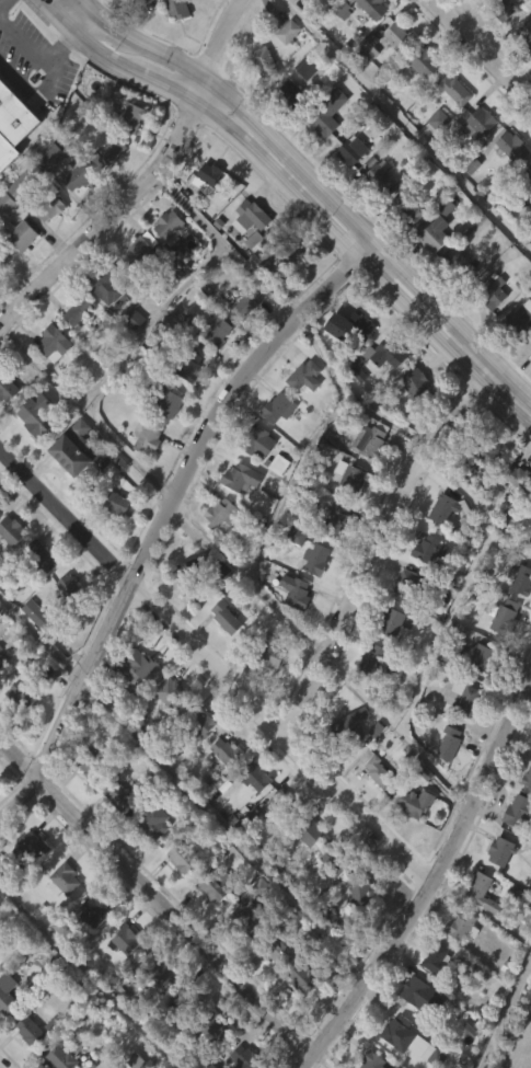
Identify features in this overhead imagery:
road: (1, 1)
building: (442, 1)
road: (85, 7)
building: (343, 8)
building: (371, 8)
building: (177, 9)
building: (501, 10)
building: (200, 12)
building: (333, 15)
road: (59, 16)
building: (463, 16)
road: (80, 23)
building: (154, 30)
building: (526, 33)
building: (401, 38)
building: (343, 42)
building: (172, 47)
building: (366, 49)
road: (482, 49)
road: (216, 50)
building: (498, 50)
road: (37, 53)
road: (104, 55)
building: (268, 61)
building: (425, 64)
building: (307, 67)
building: (284, 71)
building: (523, 72)
building: (393, 76)
road: (165, 89)
building: (363, 89)
building: (455, 90)
building: (258, 100)
building: (419, 103)
building: (301, 107)
building: (328, 113)
building: (131, 116)
road: (408, 126)
building: (467, 126)
building: (286, 129)
building: (450, 129)
building: (509, 146)
building: (348, 150)
building: (9, 151)
building: (112, 151)
building: (324, 152)
building: (51, 157)
building: (127, 157)
building: (434, 160)
building: (474, 163)
building: (528, 169)
building: (80, 175)
building: (217, 177)
building: (379, 177)
road: (314, 183)
building: (23, 184)
building: (507, 185)
building: (347, 191)
building: (104, 192)
building: (7, 202)
building: (49, 205)
building: (407, 209)
building: (526, 213)
building: (205, 214)
building: (71, 216)
building: (253, 217)
building: (373, 218)
road: (107, 222)
building: (174, 228)
building: (431, 228)
building: (20, 233)
road: (345, 241)
building: (4, 243)
building: (442, 245)
building: (45, 248)
building: (400, 248)
building: (145, 250)
building: (292, 254)
building: (245, 255)
building: (2, 260)
building: (459, 266)
building: (165, 267)
building: (430, 273)
building: (249, 279)
building: (109, 284)
building: (135, 288)
building: (489, 291)
building: (286, 297)
building: (1, 298)
building: (452, 299)
building: (251, 303)
building: (80, 310)
building: (517, 321)
building: (347, 325)
building: (104, 326)
road: (145, 328)
building: (217, 332)
building: (486, 332)
building: (58, 343)
building: (240, 344)
building: (72, 349)
building: (128, 357)
building: (374, 358)
building: (516, 359)
building: (189, 366)
building: (346, 367)
building: (212, 371)
building: (305, 376)
road: (494, 381)
building: (49, 383)
building: (409, 383)
building: (7, 388)
building: (529, 389)
building: (373, 397)
building: (164, 399)
road: (338, 401)
building: (185, 404)
building: (280, 407)
road: (509, 409)
building: (300, 415)
road: (388, 420)
building: (36, 422)
building: (411, 423)
building: (5, 428)
building: (150, 439)
building: (371, 439)
building: (262, 441)
building: (162, 443)
building: (275, 447)
building: (73, 448)
building: (489, 452)
building: (30, 460)
building: (142, 478)
building: (246, 478)
building: (517, 478)
building: (354, 480)
building: (69, 486)
building: (483, 493)
building: (1, 503)
building: (118, 503)
building: (274, 504)
building: (441, 507)
building: (222, 514)
building: (513, 515)
building: (346, 517)
road: (166, 518)
building: (236, 518)
building: (334, 520)
building: (14, 530)
road: (200, 533)
building: (112, 542)
building: (442, 547)
building: (427, 548)
building: (216, 552)
road: (373, 554)
building: (38, 556)
building: (314, 560)
building: (333, 560)
building: (8, 570)
building: (194, 573)
building: (517, 583)
road: (463, 585)
building: (420, 586)
building: (71, 589)
building: (297, 592)
building: (36, 595)
building: (312, 597)
building: (37, 613)
building: (227, 617)
building: (500, 617)
building: (519, 619)
building: (390, 622)
building: (403, 623)
building: (64, 625)
building: (292, 631)
building: (1, 647)
building: (267, 651)
building: (32, 653)
building: (221, 656)
building: (470, 656)
building: (499, 656)
building: (369, 661)
building: (386, 662)
building: (2, 663)
building: (142, 664)
road: (215, 668)
building: (171, 691)
building: (23, 692)
building: (367, 697)
building: (462, 697)
building: (478, 697)
building: (0, 704)
building: (132, 704)
building: (200, 722)
road: (399, 728)
building: (164, 731)
building: (345, 731)
building: (18, 733)
building: (461, 737)
building: (447, 743)
building: (231, 750)
building: (198, 762)
building: (92, 768)
building: (342, 769)
building: (378, 770)
building: (259, 773)
building: (527, 779)
building: (445, 782)
building: (530, 788)
building: (220, 790)
building: (124, 793)
building: (285, 803)
building: (414, 803)
building: (85, 805)
building: (374, 811)
building: (520, 813)
building: (252, 814)
building: (154, 826)
building: (313, 831)
building: (119, 832)
building: (273, 837)
building: (409, 841)
building: (513, 849)
building: (32, 851)
building: (501, 852)
building: (186, 855)
building: (337, 860)
building: (149, 861)
building: (307, 873)
building: (65, 880)
road: (431, 884)
building: (30, 885)
building: (220, 885)
building: (496, 889)
building: (357, 892)
building: (483, 893)
building: (177, 895)
road: (157, 897)
building: (330, 902)
building: (94, 911)
building: (245, 918)
building: (59, 919)
building: (207, 922)
building: (463, 927)
building: (477, 931)
building: (354, 932)
building: (126, 939)
building: (90, 950)
building: (243, 950)
building: (280, 952)
building: (438, 960)
building: (458, 965)
building: (157, 969)
road: (88, 977)
building: (119, 978)
building: (305, 979)
building: (274, 990)
building: (8, 991)
building: (420, 996)
building: (463, 1003)
building: (157, 1009)
building: (296, 1017)
building: (4, 1031)
building: (34, 1032)
building: (213, 1034)
building: (408, 1041)
building: (65, 1057)
building: (249, 1058)
building: (374, 1061)
building: (394, 1061)
building: (22, 1063)
building: (48, 1063)
building: (207, 1064)
building: (465, 1064)

